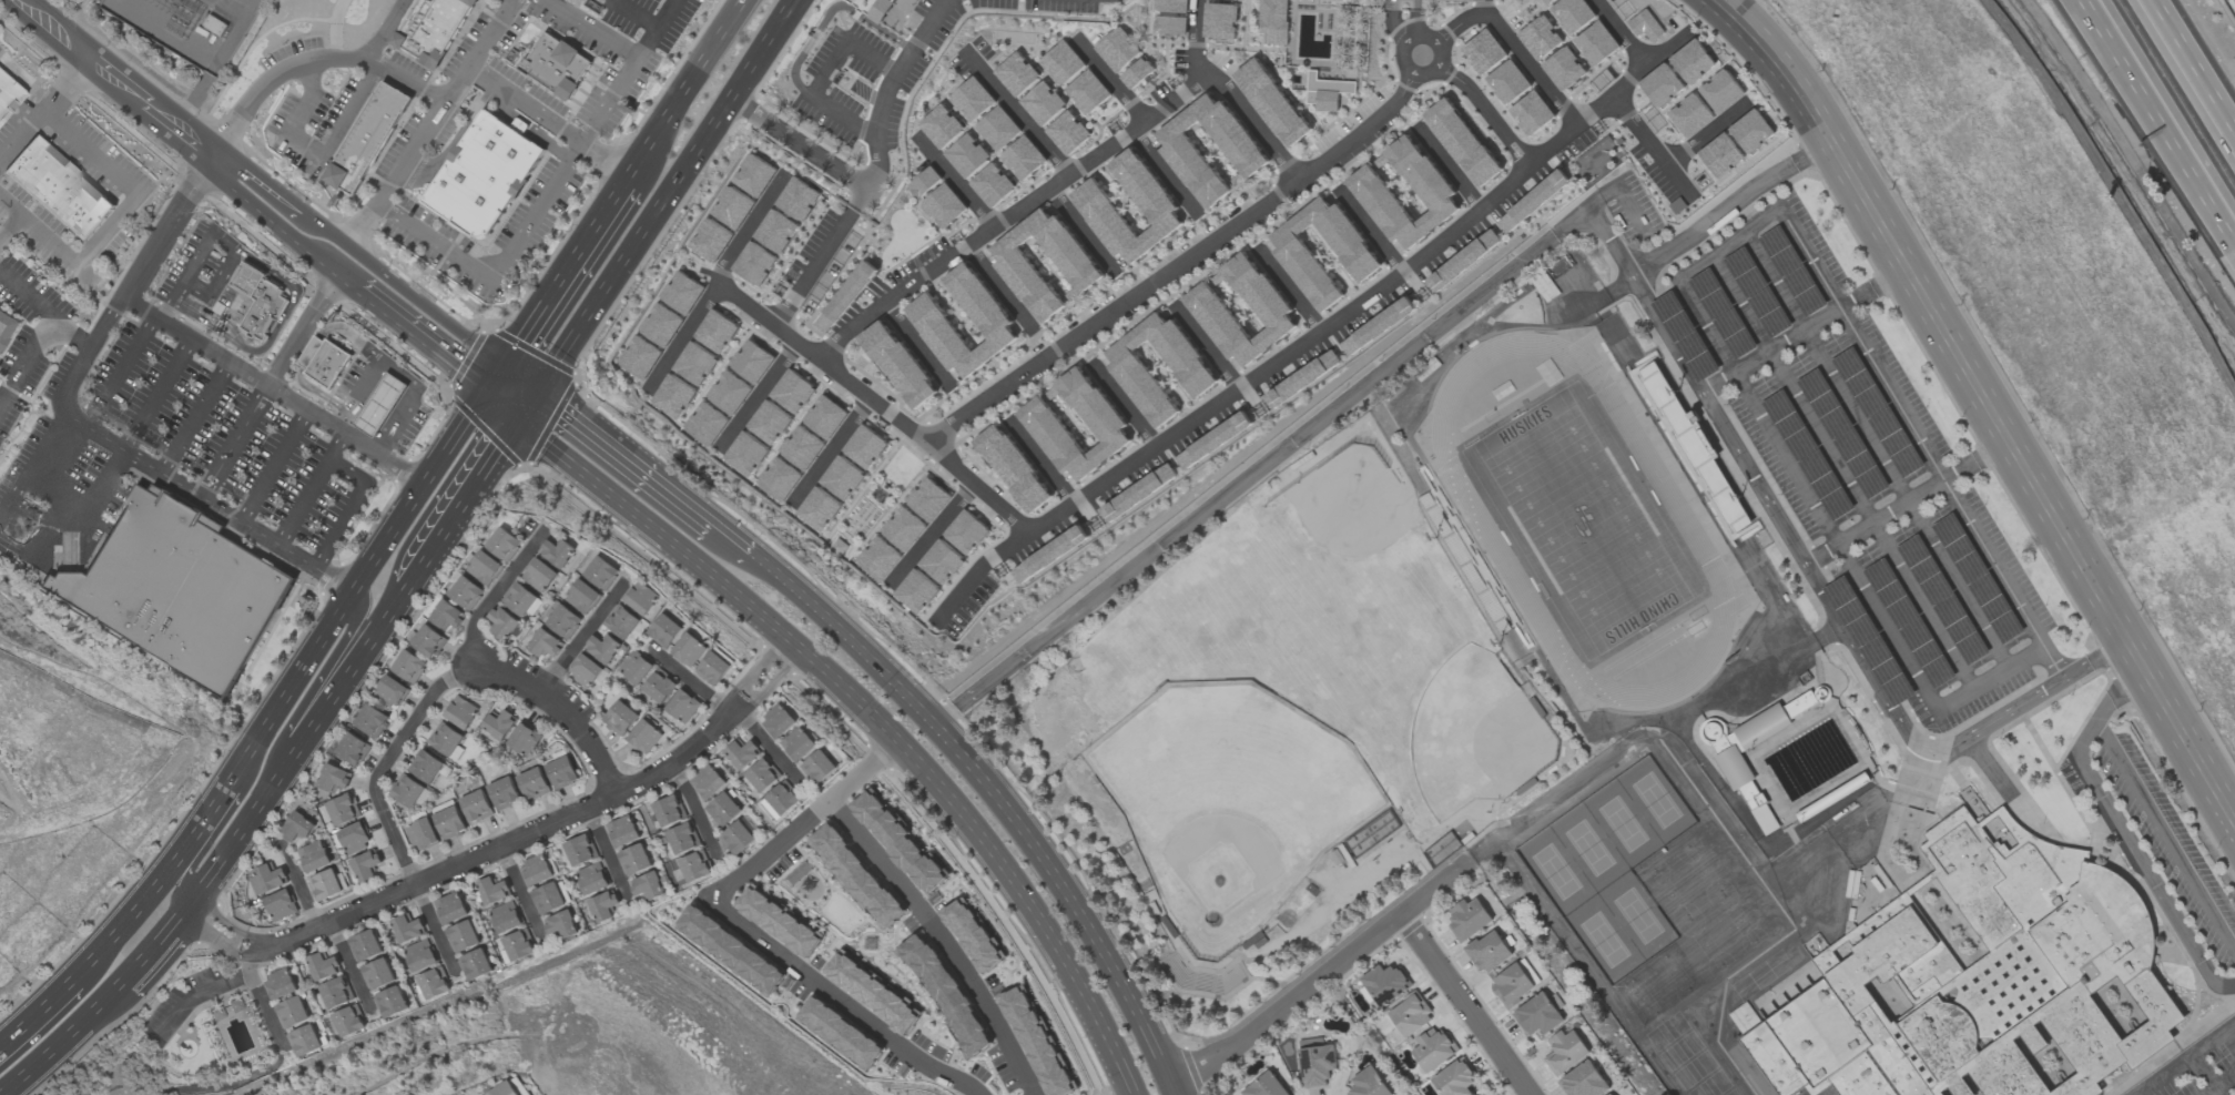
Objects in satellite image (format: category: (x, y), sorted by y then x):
building: (1460, 0)
building: (1330, 1)
road: (1392, 4)
road: (1416, 4)
building: (1171, 6)
road: (1483, 6)
building: (874, 8)
building: (1572, 13)
building: (1219, 21)
building: (1273, 21)
road: (647, 22)
road: (1416, 22)
building: (1170, 24)
building: (1645, 26)
power substation: (193, 27)
road: (1393, 27)
road: (589, 28)
building: (431, 29)
road: (390, 30)
road: (1622, 32)
road: (1411, 37)
building: (1541, 38)
road: (644, 42)
road: (1513, 43)
building: (1596, 43)
building: (1117, 49)
building: (1484, 52)
building: (1692, 61)
road: (313, 62)
building: (1061, 62)
road: (1649, 62)
building: (556, 64)
road: (2193, 67)
building: (1564, 69)
building: (1016, 73)
building: (1137, 73)
road: (825, 74)
road: (1109, 79)
building: (1508, 81)
road: (64, 82)
road: (893, 85)
road: (1220, 87)
road: (684, 88)
building: (1720, 91)
building: (1087, 92)
building: (1325, 92)
building: (9, 95)
building: (972, 99)
road: (447, 101)
building: (1271, 102)
road: (308, 103)
building: (1043, 103)
road: (1015, 111)
road: (1486, 111)
building: (1532, 113)
road: (354, 114)
building: (1692, 114)
road: (2160, 115)
road: (548, 121)
building: (941, 126)
building: (998, 128)
road: (179, 131)
building: (1068, 132)
road: (1707, 135)
building: (367, 138)
road: (799, 141)
building: (1462, 142)
building: (1735, 142)
road: (306, 150)
building: (966, 155)
building: (1247, 155)
building: (1023, 158)
road: (1447, 165)
road: (562, 168)
road: (1162, 172)
building: (482, 174)
building: (924, 182)
road: (956, 183)
building: (992, 184)
building: (1369, 187)
building: (59, 190)
road: (136, 193)
road: (860, 196)
road: (1601, 196)
building: (1154, 202)
building: (1533, 202)
road: (660, 204)
building: (944, 205)
building: (793, 207)
road: (9, 209)
road: (1633, 209)
road: (1729, 209)
road: (1004, 219)
road: (1080, 227)
road: (750, 229)
road: (1370, 229)
road: (357, 232)
road: (435, 242)
road: (1607, 244)
road: (1728, 244)
road: (217, 255)
building: (1358, 258)
building: (1463, 260)
road: (1175, 263)
building: (1080, 270)
road: (558, 280)
building: (1545, 287)
road: (999, 288)
road: (1288, 288)
building: (846, 295)
road: (26, 297)
building: (260, 300)
road: (1599, 300)
road: (743, 303)
building: (1206, 304)
road: (1936, 311)
building: (988, 316)
road: (412, 323)
building: (1376, 326)
road: (1510, 326)
road: (1707, 326)
building: (4, 327)
road: (71, 333)
road: (1806, 333)
road: (681, 336)
road: (917, 345)
road: (1208, 347)
building: (312, 353)
road: (26, 361)
building: (898, 363)
building: (329, 365)
building: (1550, 369)
road: (120, 371)
road: (400, 372)
building: (1134, 374)
road: (257, 378)
building: (1289, 387)
road: (155, 393)
road: (759, 394)
road: (508, 396)
building: (380, 405)
gas station: (382, 405)
road: (1124, 405)
road: (193, 416)
building: (1100, 418)
road: (1187, 422)
road: (83, 426)
road: (346, 435)
road: (234, 440)
parking lot: (176, 443)
road: (1921, 444)
road: (1877, 450)
road: (827, 452)
road: (623, 457)
road: (1043, 462)
road: (272, 465)
road: (1261, 465)
building: (1014, 467)
road: (1841, 473)
road: (311, 488)
road: (468, 496)
road: (1907, 503)
track: (1483, 527)
road: (21, 530)
road: (929, 535)
road: (1835, 541)
building: (504, 544)
road: (739, 547)
building: (484, 568)
road: (979, 570)
building: (600, 572)
building: (539, 575)
building: (180, 591)
building: (466, 592)
building: (582, 597)
road: (495, 598)
building: (640, 598)
building: (521, 600)
building: (444, 614)
road: (1836, 616)
building: (561, 619)
building: (501, 622)
building: (624, 625)
building: (663, 631)
building: (428, 641)
road: (582, 641)
road: (852, 642)
building: (543, 643)
building: (602, 648)
building: (688, 650)
building: (408, 666)
building: (634, 667)
building: (713, 668)
building: (583, 670)
building: (1804, 678)
road: (1989, 679)
road: (691, 685)
building: (659, 686)
road: (292, 690)
building: (390, 691)
road: (1717, 693)
road: (308, 694)
building: (682, 706)
road: (2105, 709)
building: (460, 712)
road: (563, 713)
road: (868, 716)
building: (620, 718)
building: (372, 720)
building: (778, 721)
building: (498, 723)
road: (2182, 728)
building: (644, 737)
building: (524, 739)
road: (1639, 739)
building: (447, 740)
building: (798, 744)
building: (353, 749)
road: (769, 749)
building: (741, 754)
road: (387, 766)
building: (426, 766)
building: (819, 767)
building: (561, 771)
building: (1736, 772)
building: (761, 775)
building: (334, 778)
building: (708, 782)
building: (534, 783)
building: (408, 792)
building: (504, 793)
building: (780, 800)
park: (1656, 801)
road: (12, 802)
building: (476, 805)
building: (343, 809)
building: (723, 809)
building: (666, 812)
road: (694, 813)
building: (448, 820)
road: (221, 823)
park: (1622, 824)
building: (297, 827)
building: (622, 831)
building: (421, 834)
building: (353, 838)
building: (682, 838)
building: (736, 838)
road: (2165, 838)
building: (897, 839)
road: (505, 849)
park: (1589, 849)
building: (579, 850)
road: (224, 854)
building: (313, 856)
road: (607, 858)
building: (634, 860)
building: (366, 865)
building: (691, 868)
building: (536, 871)
park: (1555, 872)
building: (855, 876)
road: (2147, 878)
building: (266, 879)
building: (591, 879)
building: (325, 884)
building: (647, 886)
road: (297, 889)
building: (492, 891)
road: (521, 898)
building: (548, 898)
road: (1075, 898)
building: (280, 904)
building: (602, 905)
building: (450, 908)
park: (1637, 916)
building: (505, 917)
building: (1469, 920)
building: (779, 921)
road: (742, 922)
building: (560, 924)
building: (407, 927)
road: (436, 930)
building: (973, 935)
building: (463, 936)
park: (1604, 940)
road: (941, 942)
building: (365, 945)
building: (518, 945)
building: (730, 950)
building: (1489, 952)
building: (475, 964)
road: (352, 965)
building: (323, 966)
building: (377, 974)
road: (1323, 974)
building: (1981, 982)
building: (433, 983)
building: (280, 984)
building: (1384, 984)
building: (1512, 985)
road: (2227, 987)
building: (872, 991)
building: (944, 992)
building: (335, 993)
road: (192, 994)
building: (389, 1002)
road: (1466, 1003)
building: (235, 1005)
road: (262, 1005)
building: (292, 1012)
road: (37, 1014)
building: (1410, 1015)
building: (1538, 1015)
building: (347, 1022)
building: (839, 1033)
building: (304, 1041)
building: (1037, 1042)
building: (1433, 1050)
building: (1566, 1052)
road: (2186, 1059)
building: (1317, 1063)
building: (1454, 1079)
building: (1584, 1081)
building: (1369, 1083)
road: (2221, 1084)
building: (520, 1086)
building: (1266, 1086)
building: (505, 1089)
building: (1487, 1094)
building: (1611, 1094)

